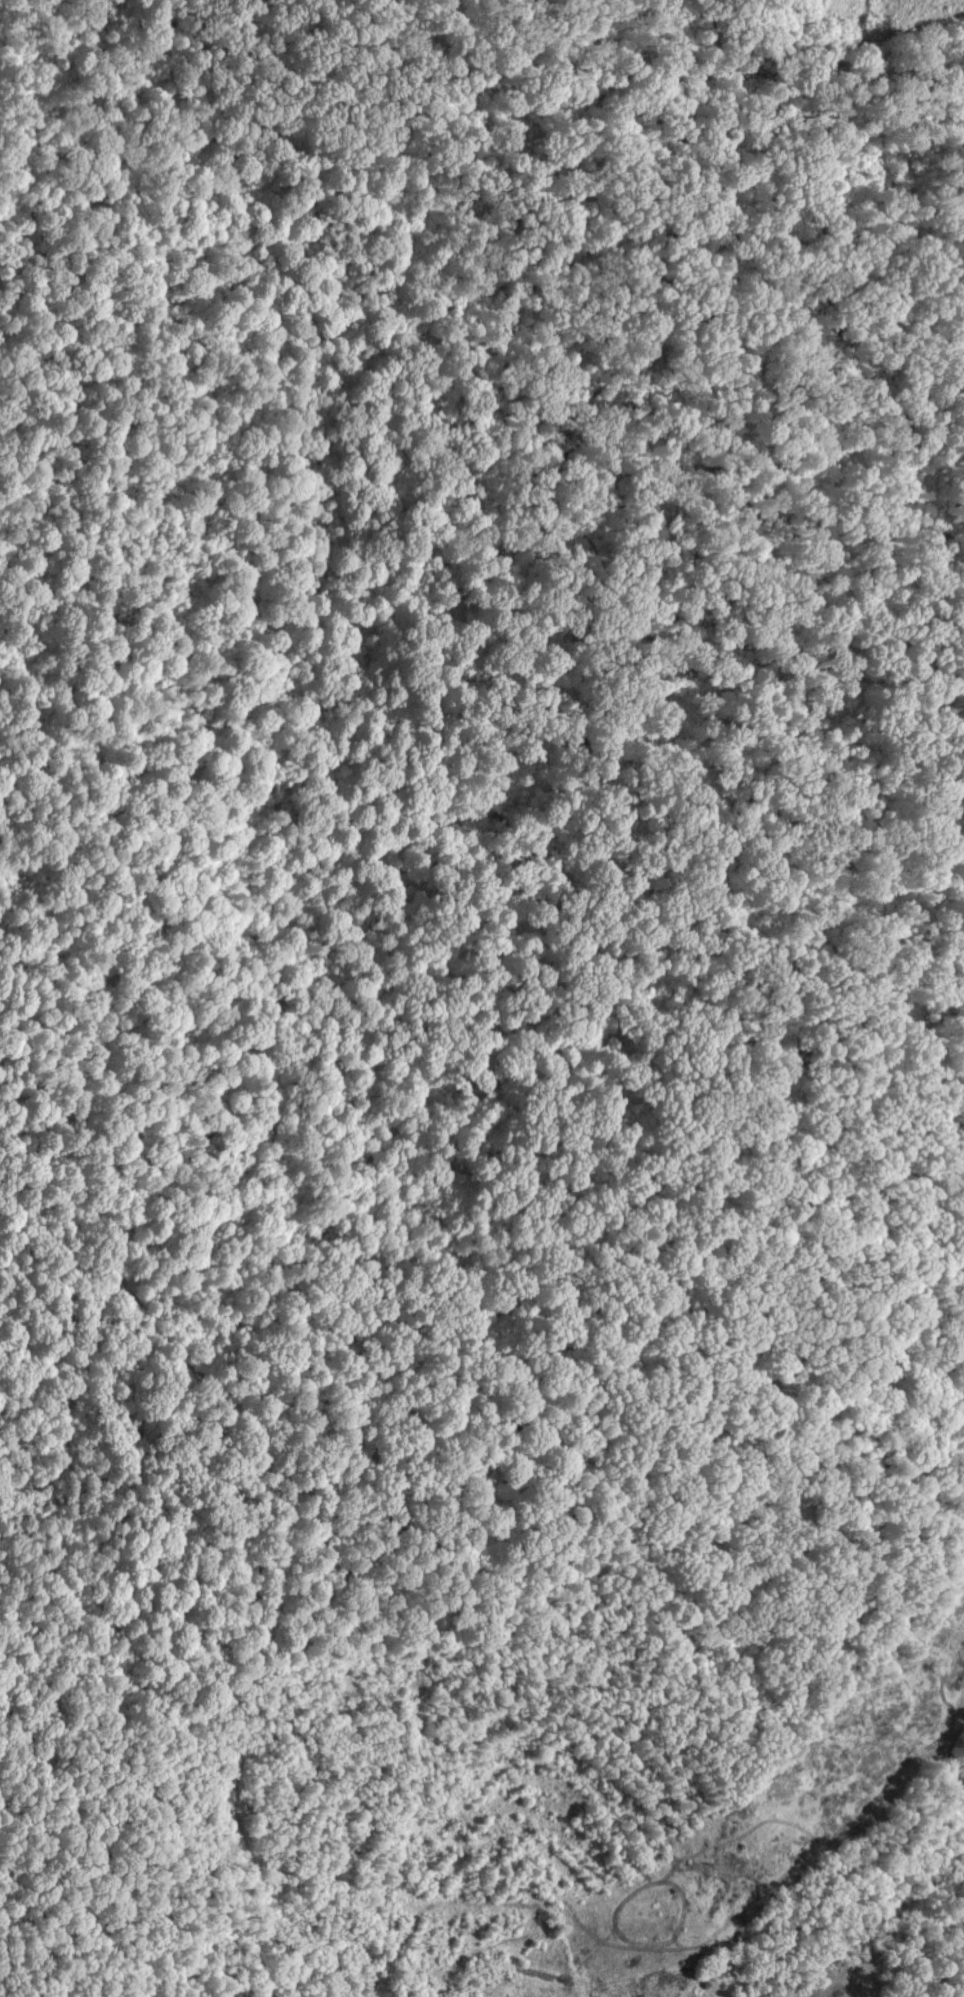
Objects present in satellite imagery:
power tower: (723, 1873)

